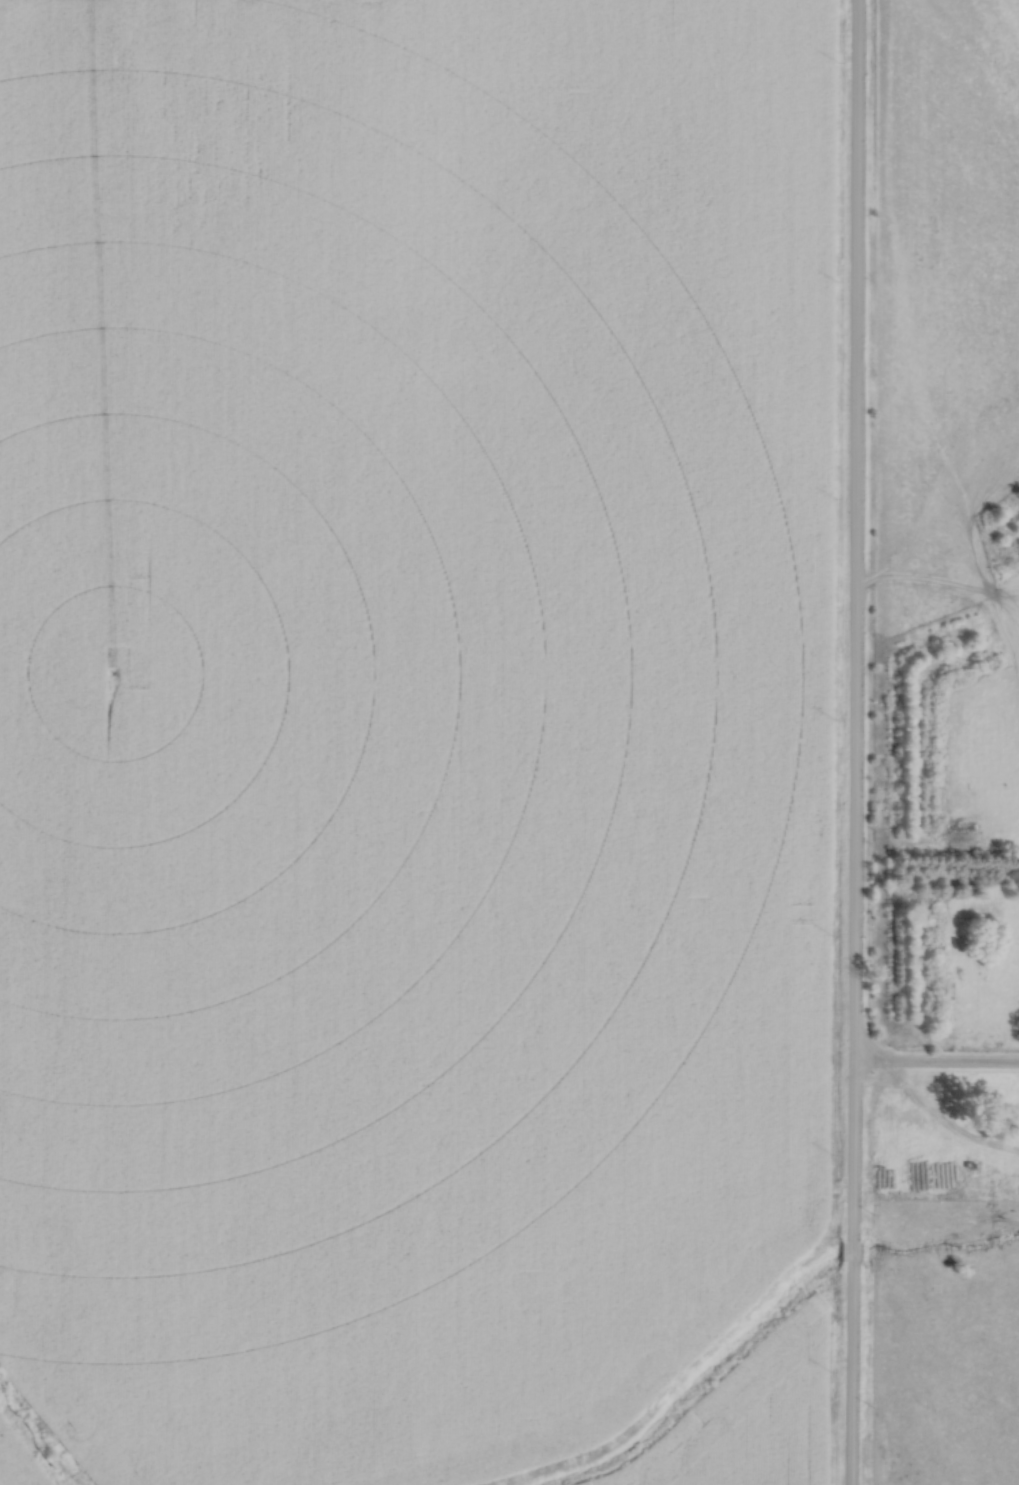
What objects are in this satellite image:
road: (853, 742)
road: (936, 1066)

